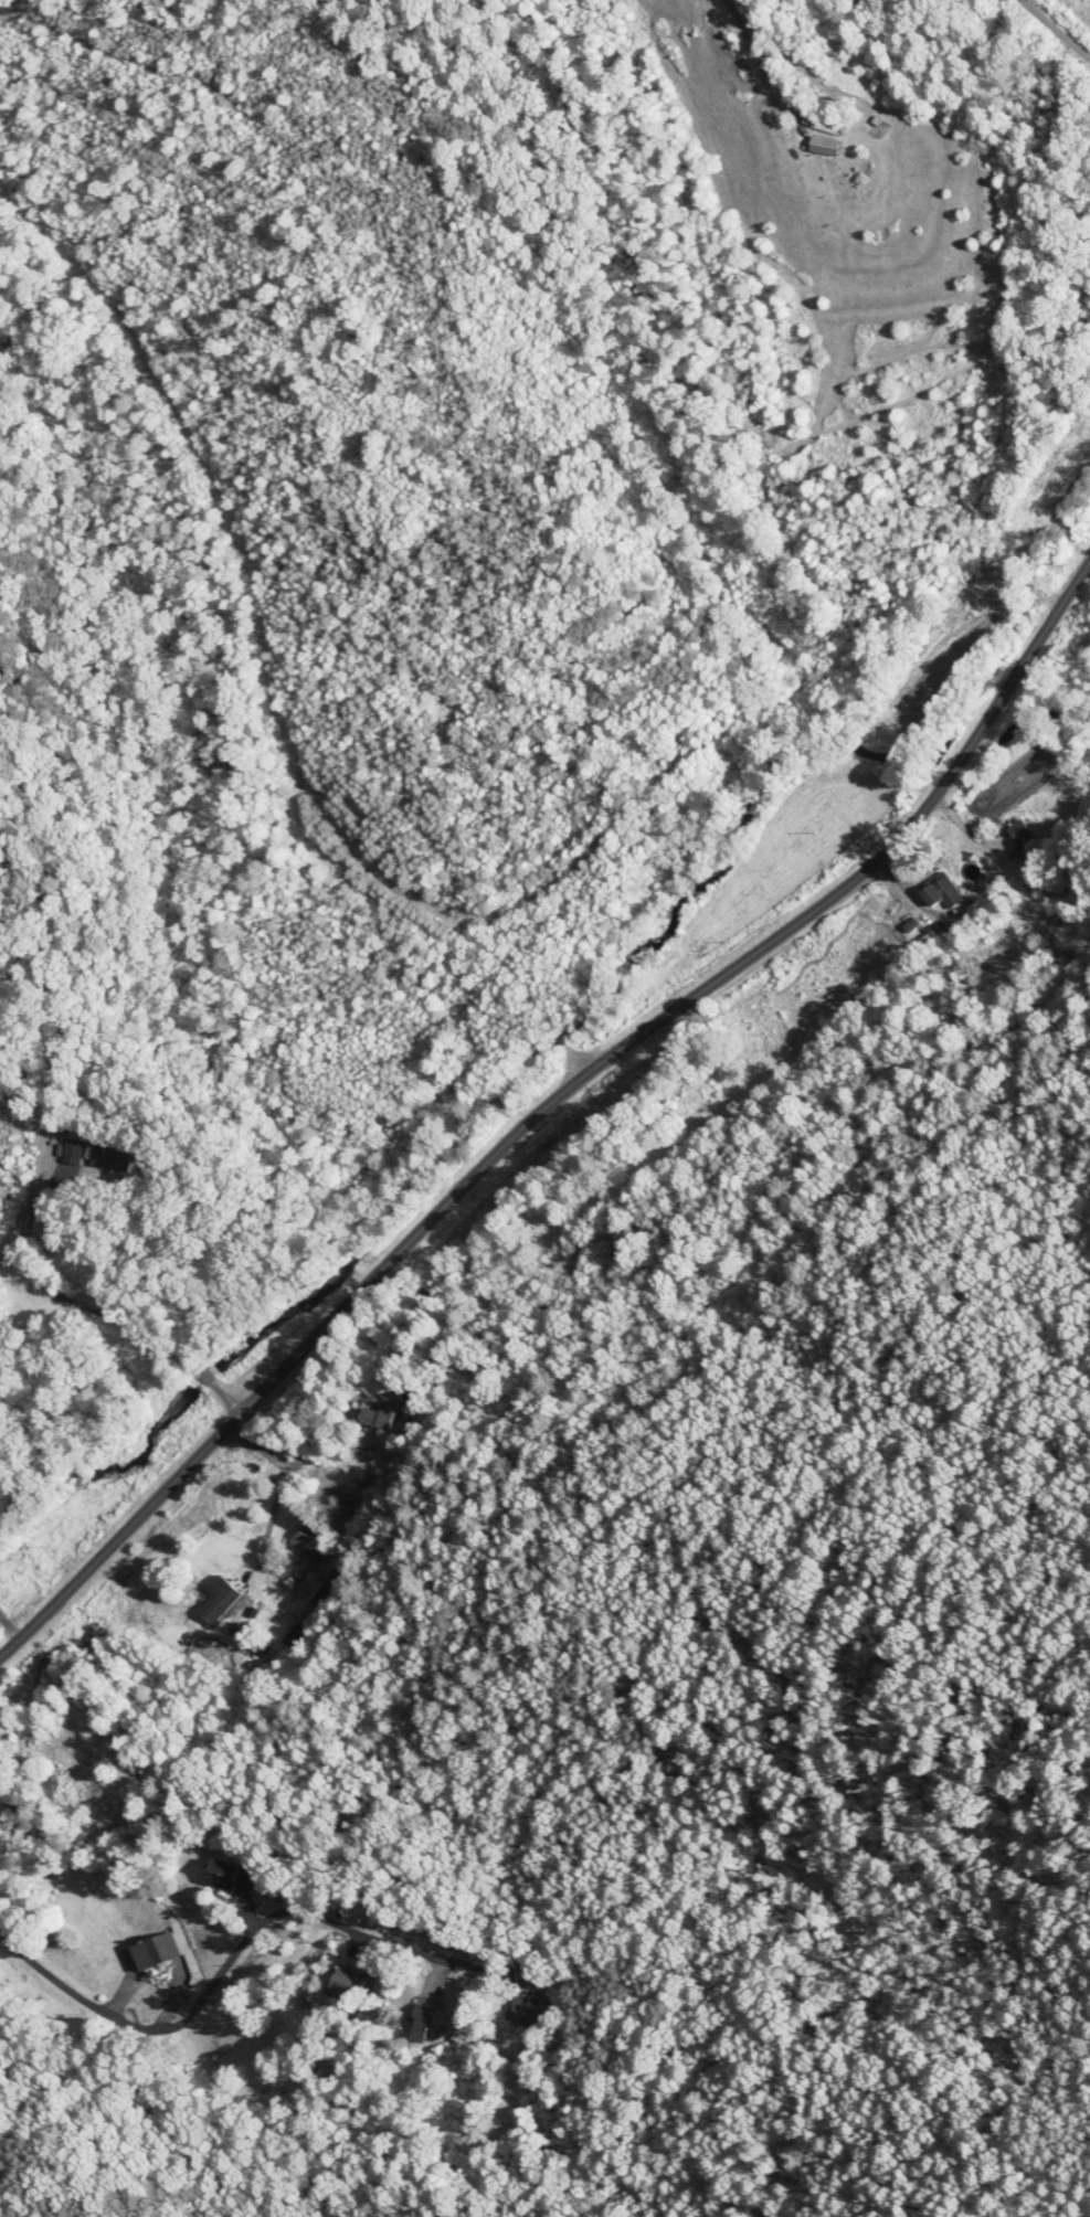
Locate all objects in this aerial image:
road: (753, 11)
road: (1054, 26)
building: (934, 891)
river: (679, 905)
road: (548, 1107)
building: (74, 1154)
road: (65, 1296)
road: (207, 1378)
road: (231, 1401)
river: (195, 1402)
building: (370, 1415)
building: (305, 1552)
building: (211, 1599)
building: (221, 1876)
building: (150, 1949)
road: (227, 1963)
building: (342, 1984)
building: (518, 2006)
building: (415, 2022)

